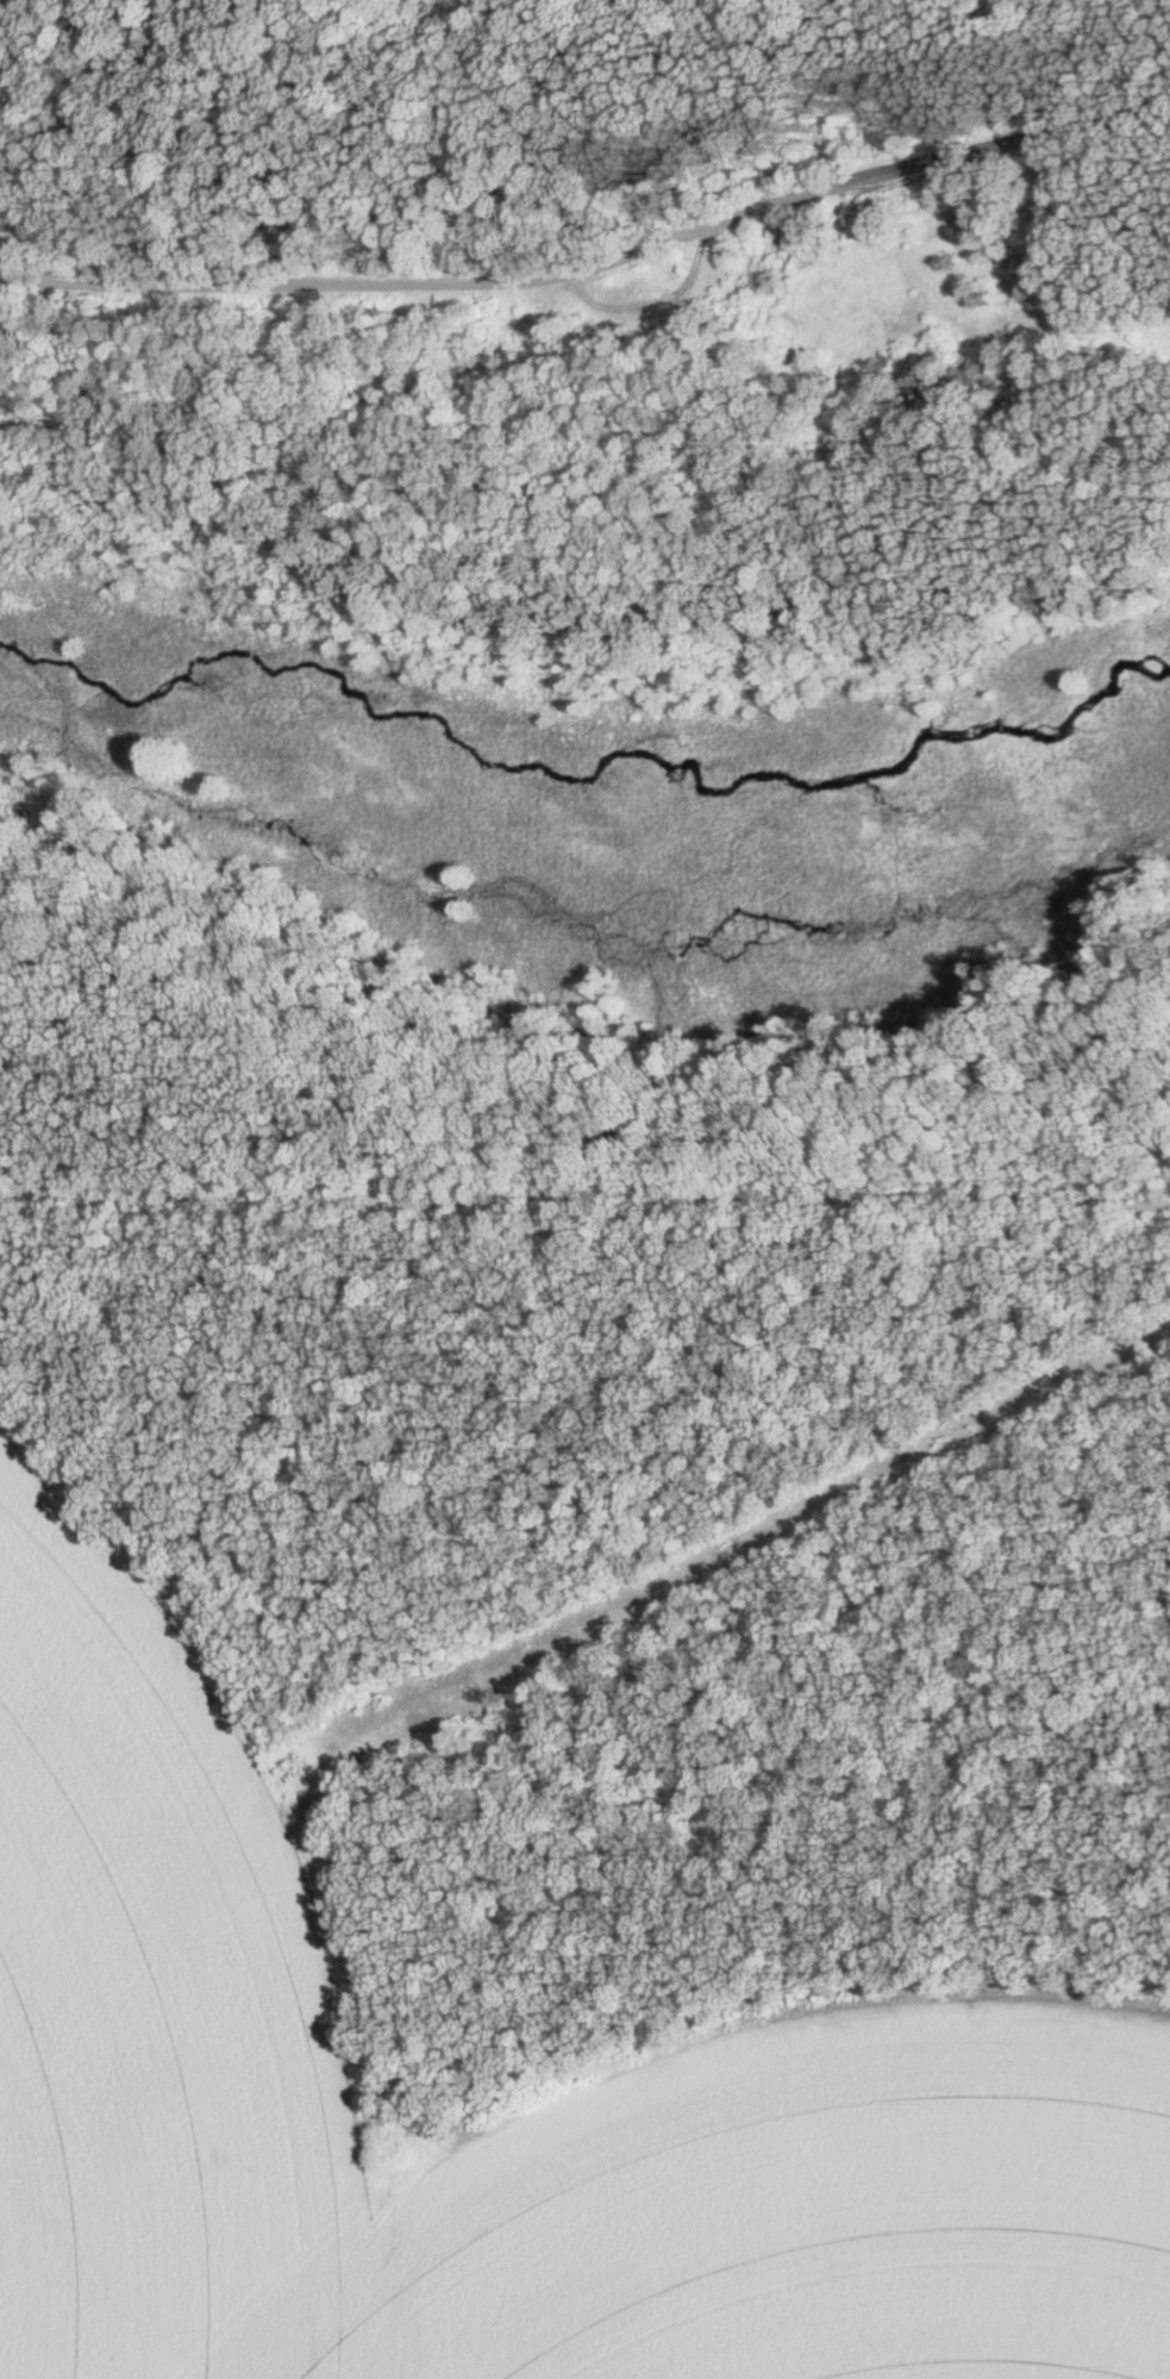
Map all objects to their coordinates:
road: (587, 245)
road: (584, 1200)

